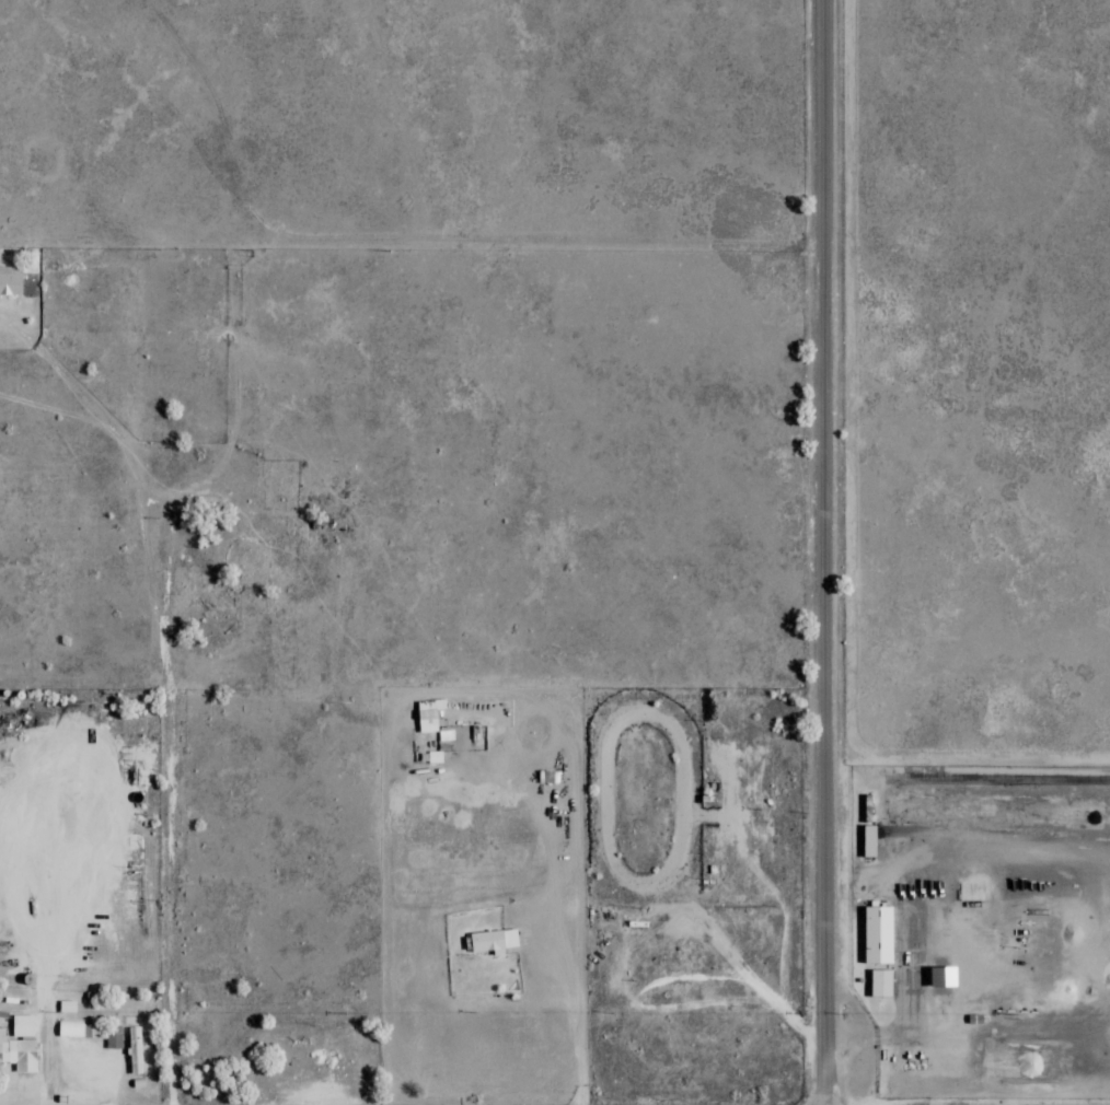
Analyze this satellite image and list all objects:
building: (10, 281)
road: (825, 552)
road: (171, 860)
building: (878, 935)
building: (645, 964)
building: (941, 978)
building: (881, 984)
building: (79, 1027)
building: (115, 1037)
building: (20, 1044)
building: (289, 1048)
building: (136, 1051)

